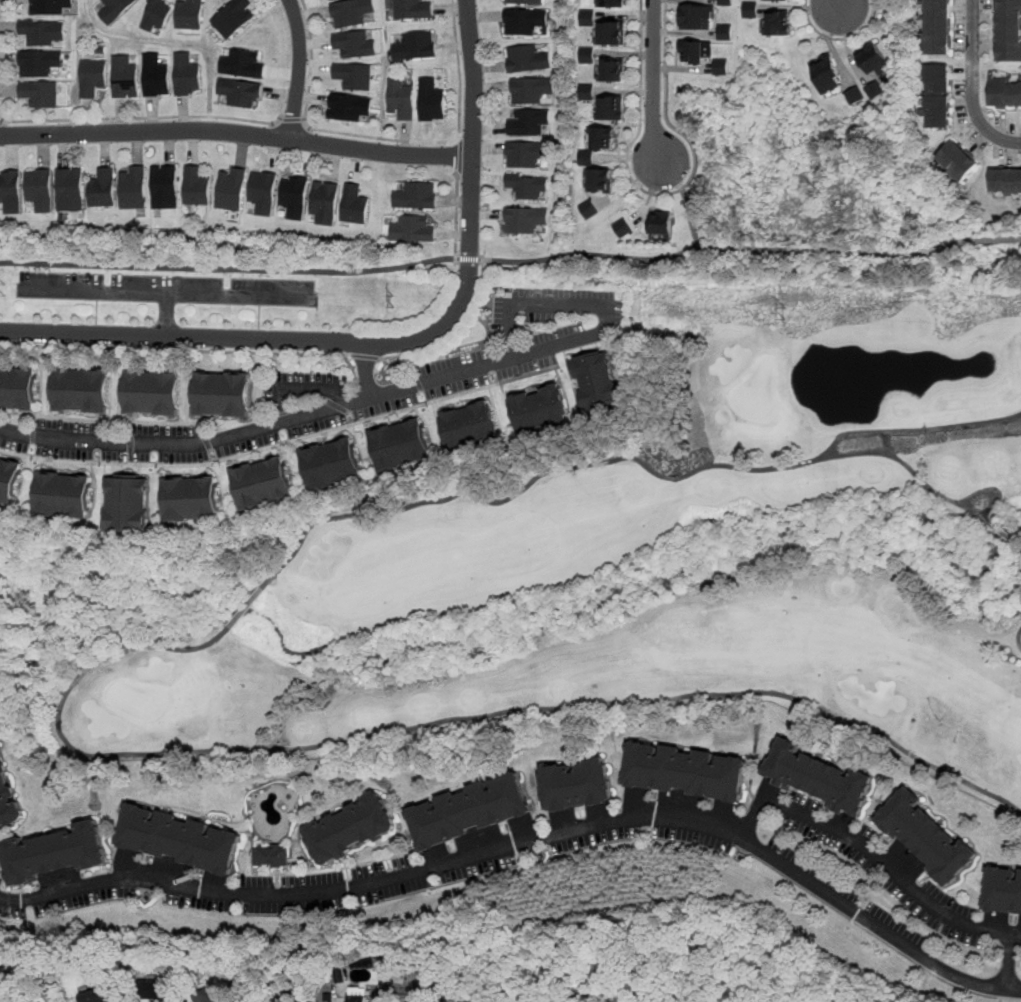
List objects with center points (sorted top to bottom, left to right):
building: (524, 1)
building: (781, 1)
building: (614, 2)
road: (839, 4)
building: (51, 6)
building: (116, 9)
building: (414, 9)
building: (751, 10)
building: (354, 12)
building: (191, 14)
building: (158, 15)
building: (702, 17)
building: (235, 18)
building: (527, 21)
building: (786, 23)
building: (940, 28)
building: (1009, 29)
building: (725, 31)
building: (43, 32)
building: (613, 35)
road: (841, 39)
building: (357, 44)
building: (417, 46)
building: (699, 53)
building: (587, 55)
building: (530, 59)
building: (879, 60)
building: (41, 62)
building: (245, 64)
building: (721, 65)
road: (298, 69)
building: (615, 71)
building: (188, 74)
building: (834, 74)
building: (356, 75)
building: (157, 76)
building: (94, 77)
building: (126, 77)
road: (654, 82)
road: (972, 85)
building: (533, 90)
building: (585, 91)
building: (242, 92)
building: (1006, 92)
building: (41, 94)
building: (941, 94)
building: (403, 99)
building: (430, 101)
road: (667, 103)
building: (351, 107)
building: (616, 109)
road: (143, 117)
road: (641, 119)
road: (292, 120)
building: (531, 122)
road: (237, 131)
building: (605, 137)
road: (389, 140)
building: (529, 154)
building: (586, 157)
road: (460, 158)
building: (967, 161)
building: (600, 173)
building: (1010, 180)
building: (528, 186)
building: (167, 187)
building: (198, 187)
building: (134, 188)
building: (41, 189)
building: (71, 189)
building: (104, 189)
building: (233, 190)
building: (11, 191)
building: (264, 192)
building: (296, 197)
building: (415, 197)
building: (326, 202)
building: (357, 205)
building: (589, 208)
road: (691, 218)
building: (527, 220)
road: (456, 223)
building: (665, 224)
building: (622, 227)
building: (412, 230)
road: (984, 238)
road: (690, 250)
road: (926, 251)
road: (469, 258)
road: (230, 269)
power tower: (2, 289)
road: (162, 293)
power tower: (393, 301)
road: (588, 305)
power tower: (788, 309)
road: (167, 315)
road: (453, 330)
road: (390, 342)
road: (175, 350)
road: (365, 357)
road: (366, 371)
building: (601, 381)
building: (19, 389)
building: (82, 390)
road: (301, 392)
building: (153, 393)
building: (223, 395)
building: (544, 409)
building: (473, 427)
road: (262, 429)
building: (403, 446)
road: (629, 458)
building: (335, 465)
road: (908, 468)
building: (10, 481)
building: (264, 484)
road: (989, 492)
building: (64, 496)
building: (193, 500)
building: (129, 506)
road: (1018, 546)
park: (631, 566)
road: (1020, 639)
road: (437, 724)
building: (689, 771)
building: (826, 779)
building: (584, 782)
building: (8, 794)
building: (468, 804)
building: (356, 826)
building: (926, 835)
building: (184, 836)
road: (529, 840)
building: (57, 850)
building: (273, 851)
road: (893, 870)
building: (328, 872)
building: (1006, 886)
building: (900, 896)
building: (180, 902)
building: (52, 910)
building: (150, 990)
building: (205, 996)
building: (92, 997)
building: (359, 999)

